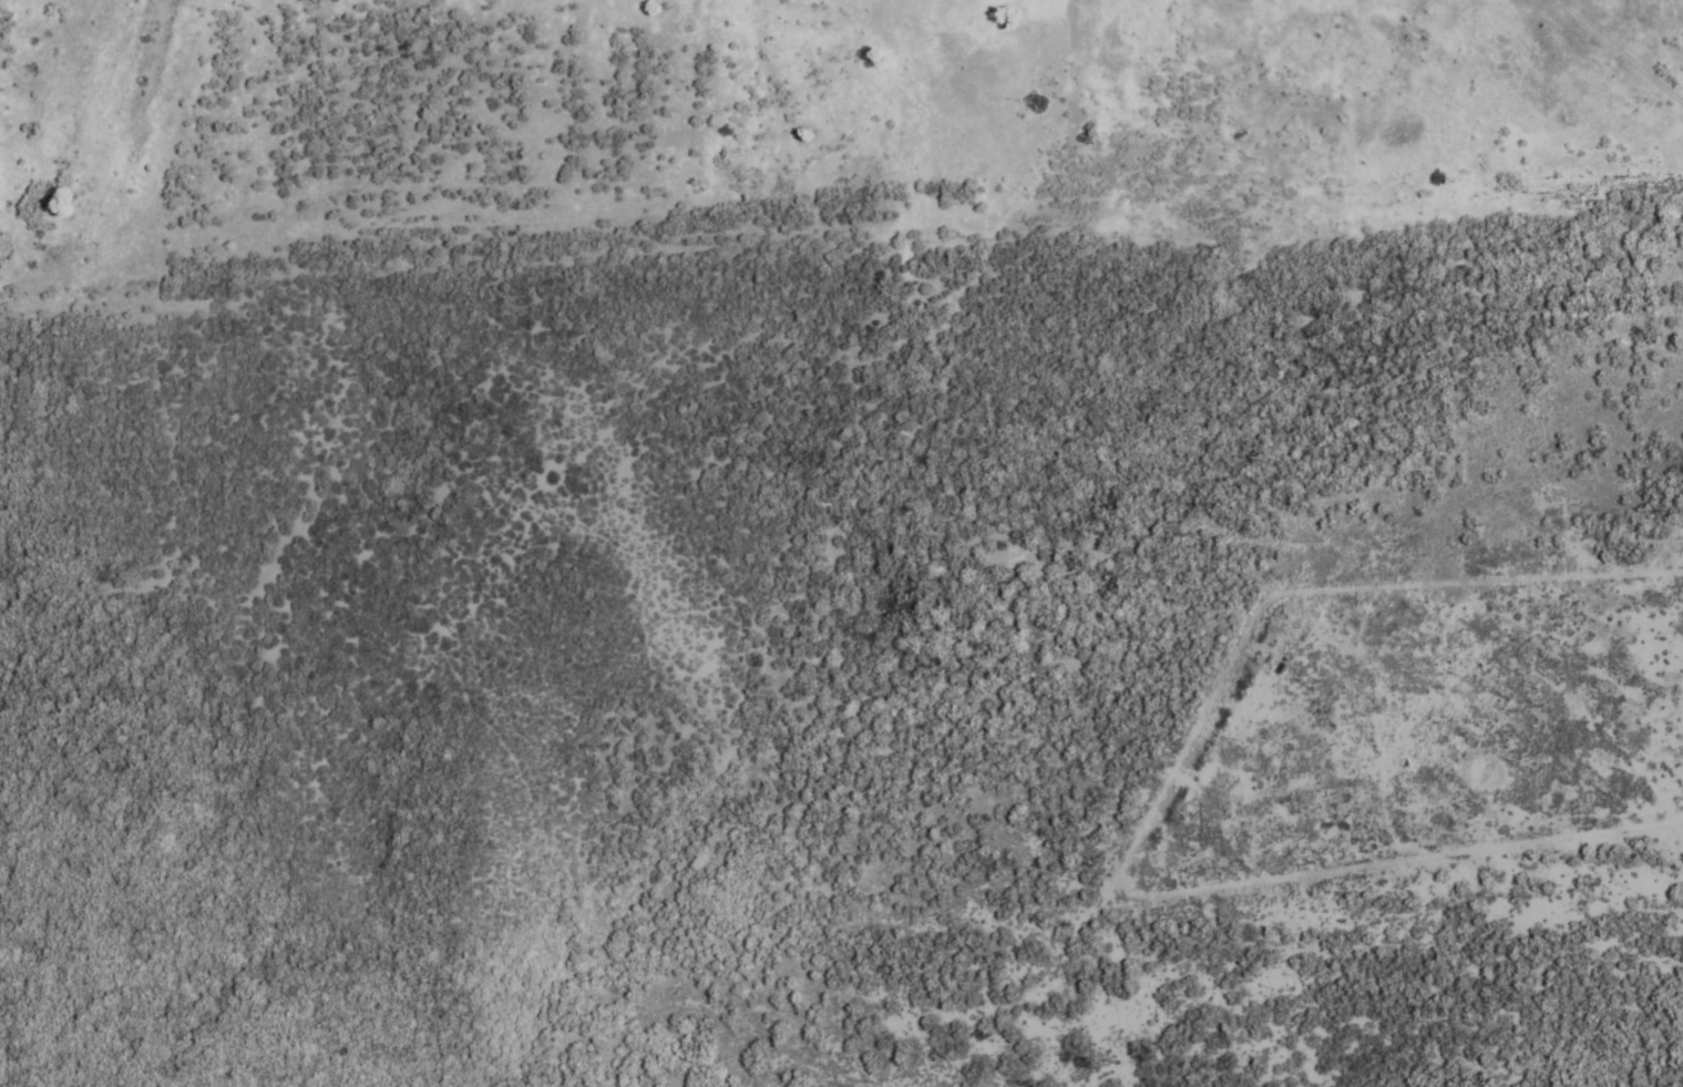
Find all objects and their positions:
road: (1477, 527)

